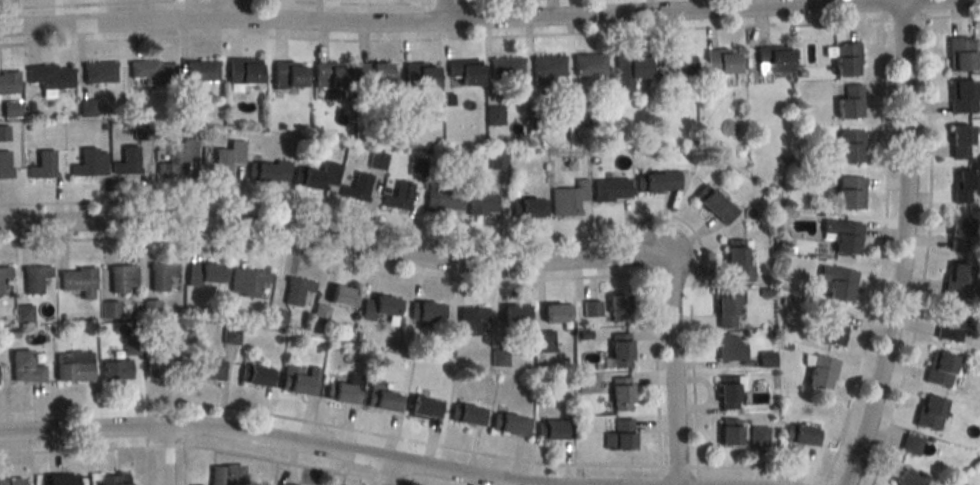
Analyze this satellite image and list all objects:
road: (472, 0)
road: (443, 1)
road: (362, 2)
road: (91, 3)
road: (441, 12)
road: (952, 15)
road: (903, 17)
road: (490, 22)
road: (440, 37)
building: (958, 53)
building: (844, 58)
building: (770, 59)
building: (719, 62)
building: (587, 64)
building: (673, 64)
building: (547, 66)
building: (505, 67)
building: (627, 69)
building: (200, 70)
building: (153, 71)
building: (242, 71)
building: (373, 72)
building: (99, 73)
building: (462, 73)
building: (287, 74)
building: (330, 75)
building: (419, 75)
building: (50, 76)
building: (8, 82)
building: (960, 95)
building: (847, 100)
building: (11, 108)
building: (577, 115)
building: (4, 133)
building: (958, 140)
building: (848, 146)
building: (178, 157)
building: (225, 157)
building: (127, 161)
building: (90, 162)
building: (42, 164)
building: (416, 166)
building: (268, 171)
building: (5, 172)
building: (316, 176)
building: (656, 181)
building: (963, 185)
building: (355, 188)
building: (609, 189)
building: (848, 192)
building: (399, 196)
building: (441, 197)
building: (567, 198)
building: (481, 203)
building: (713, 204)
building: (529, 207)
building: (958, 233)
building: (842, 236)
road: (901, 248)
road: (881, 250)
road: (926, 254)
road: (439, 261)
building: (735, 262)
building: (4, 274)
building: (206, 274)
building: (164, 276)
building: (35, 278)
building: (122, 278)
building: (957, 280)
building: (78, 281)
building: (247, 282)
building: (836, 282)
building: (297, 291)
building: (334, 304)
building: (726, 306)
building: (379, 307)
building: (591, 308)
building: (617, 308)
building: (110, 309)
building: (423, 311)
building: (25, 313)
building: (556, 313)
building: (515, 316)
building: (277, 317)
building: (468, 320)
building: (951, 324)
building: (830, 327)
building: (544, 341)
building: (729, 348)
building: (619, 351)
building: (765, 358)
building: (73, 366)
building: (163, 367)
building: (24, 368)
building: (938, 368)
building: (208, 369)
building: (116, 370)
building: (256, 375)
building: (299, 379)
building: (587, 383)
building: (345, 389)
building: (619, 392)
building: (726, 392)
building: (383, 399)
building: (424, 406)
building: (928, 411)
building: (467, 415)
road: (331, 424)
building: (509, 425)
building: (552, 430)
building: (617, 434)
building: (727, 434)
building: (802, 435)
road: (268, 440)
building: (910, 444)
road: (166, 445)
road: (74, 449)
road: (163, 457)
road: (280, 459)
road: (185, 465)
road: (680, 465)
road: (764, 466)
road: (389, 474)
building: (225, 475)
building: (59, 479)
building: (112, 479)
building: (904, 479)
building: (10, 481)
road: (374, 481)
road: (394, 481)
road: (838, 481)
building: (286, 484)

